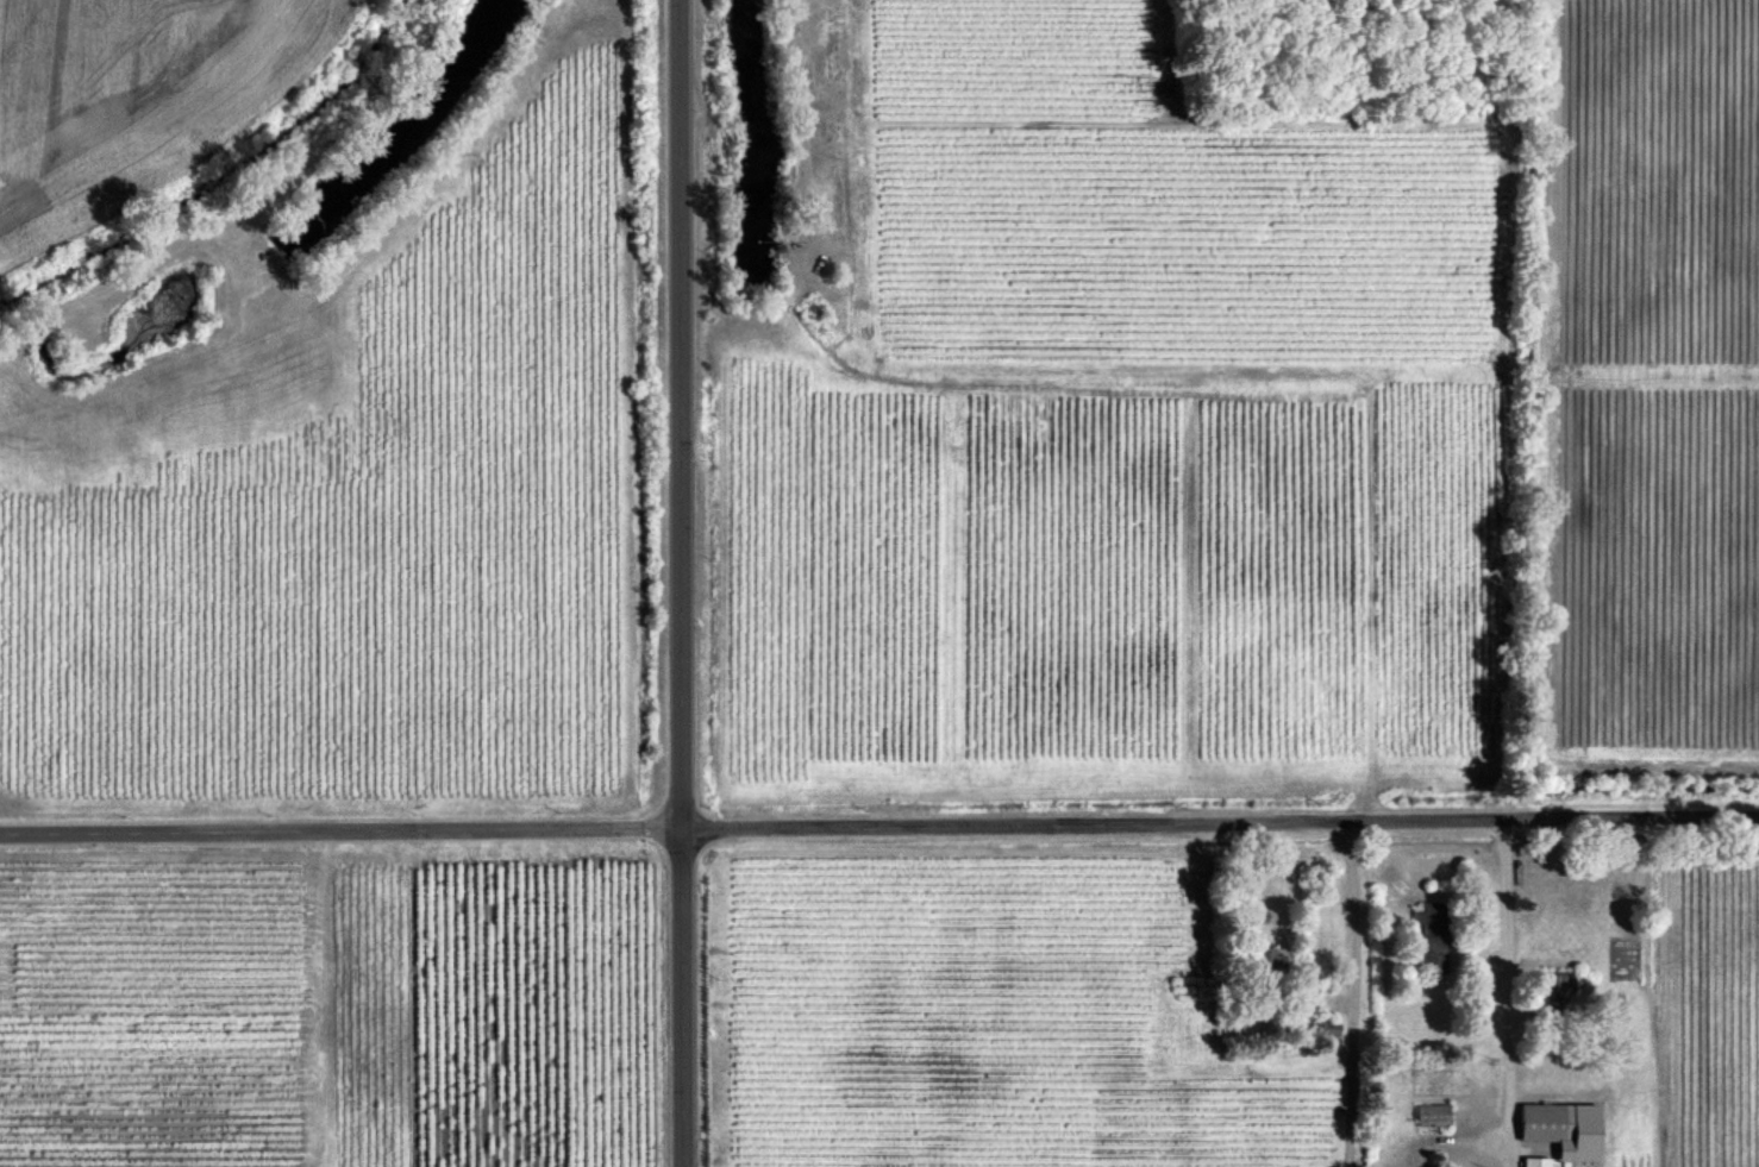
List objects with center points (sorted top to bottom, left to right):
road: (681, 583)
road: (878, 824)
building: (1432, 933)
building: (1269, 959)
road: (1511, 986)
building: (1553, 990)
road: (1359, 993)
building: (1433, 1113)
building: (1563, 1128)
building: (1535, 1161)

